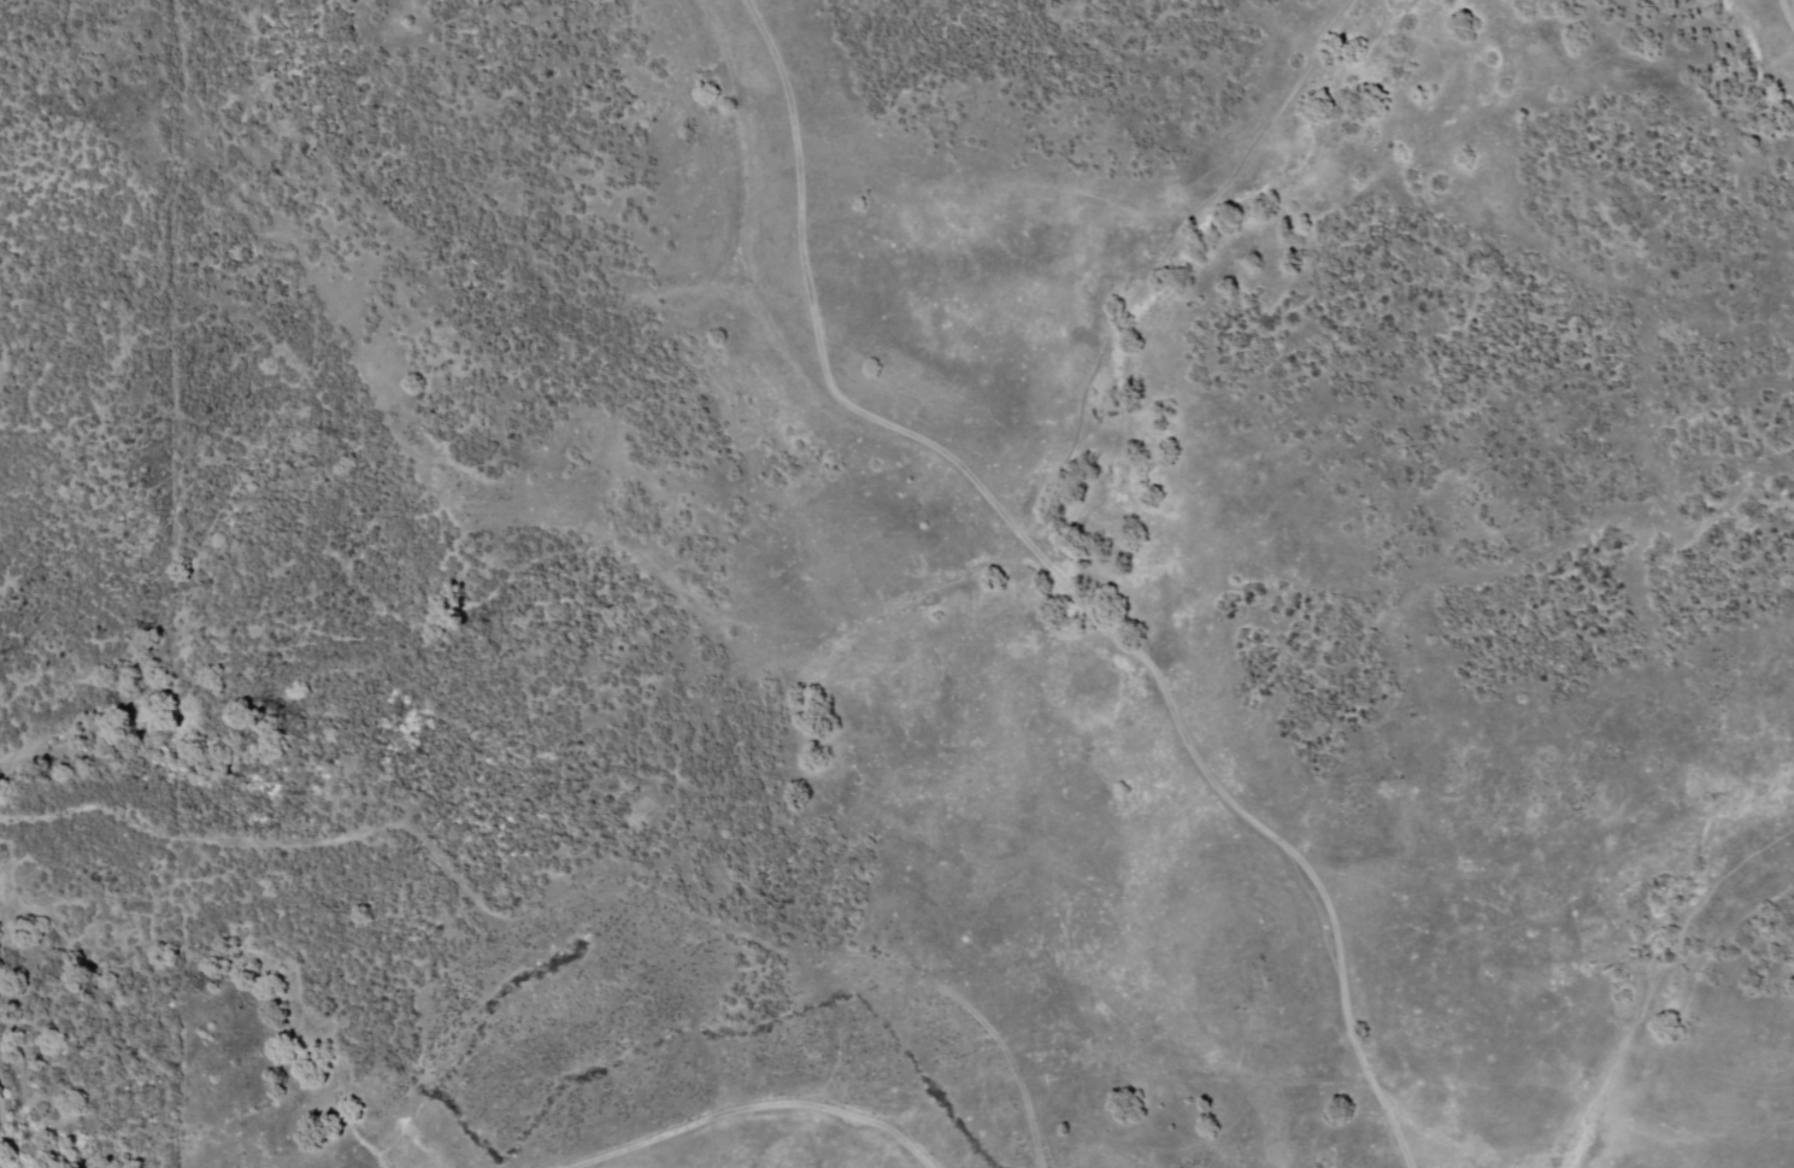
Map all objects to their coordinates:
road: (1790, 7)
road: (1061, 573)

